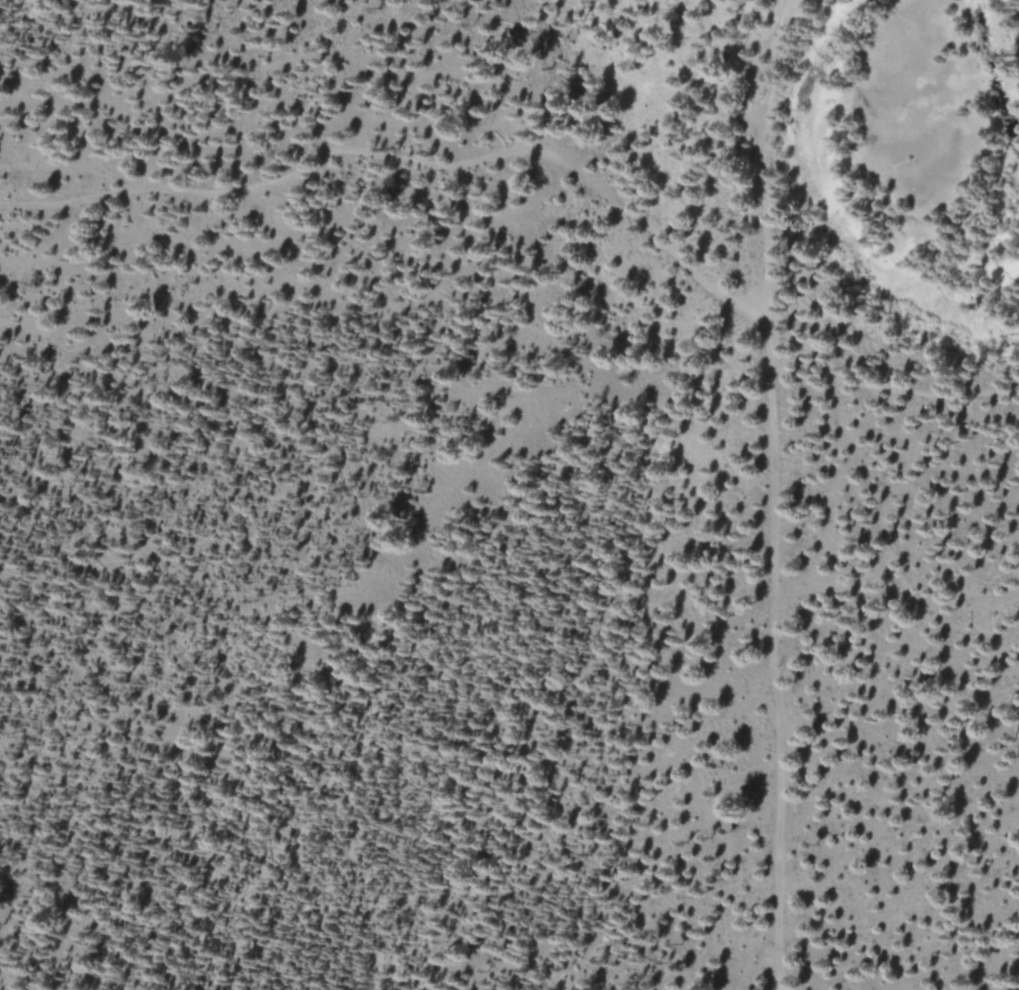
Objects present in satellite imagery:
road: (696, 275)
road: (767, 294)

